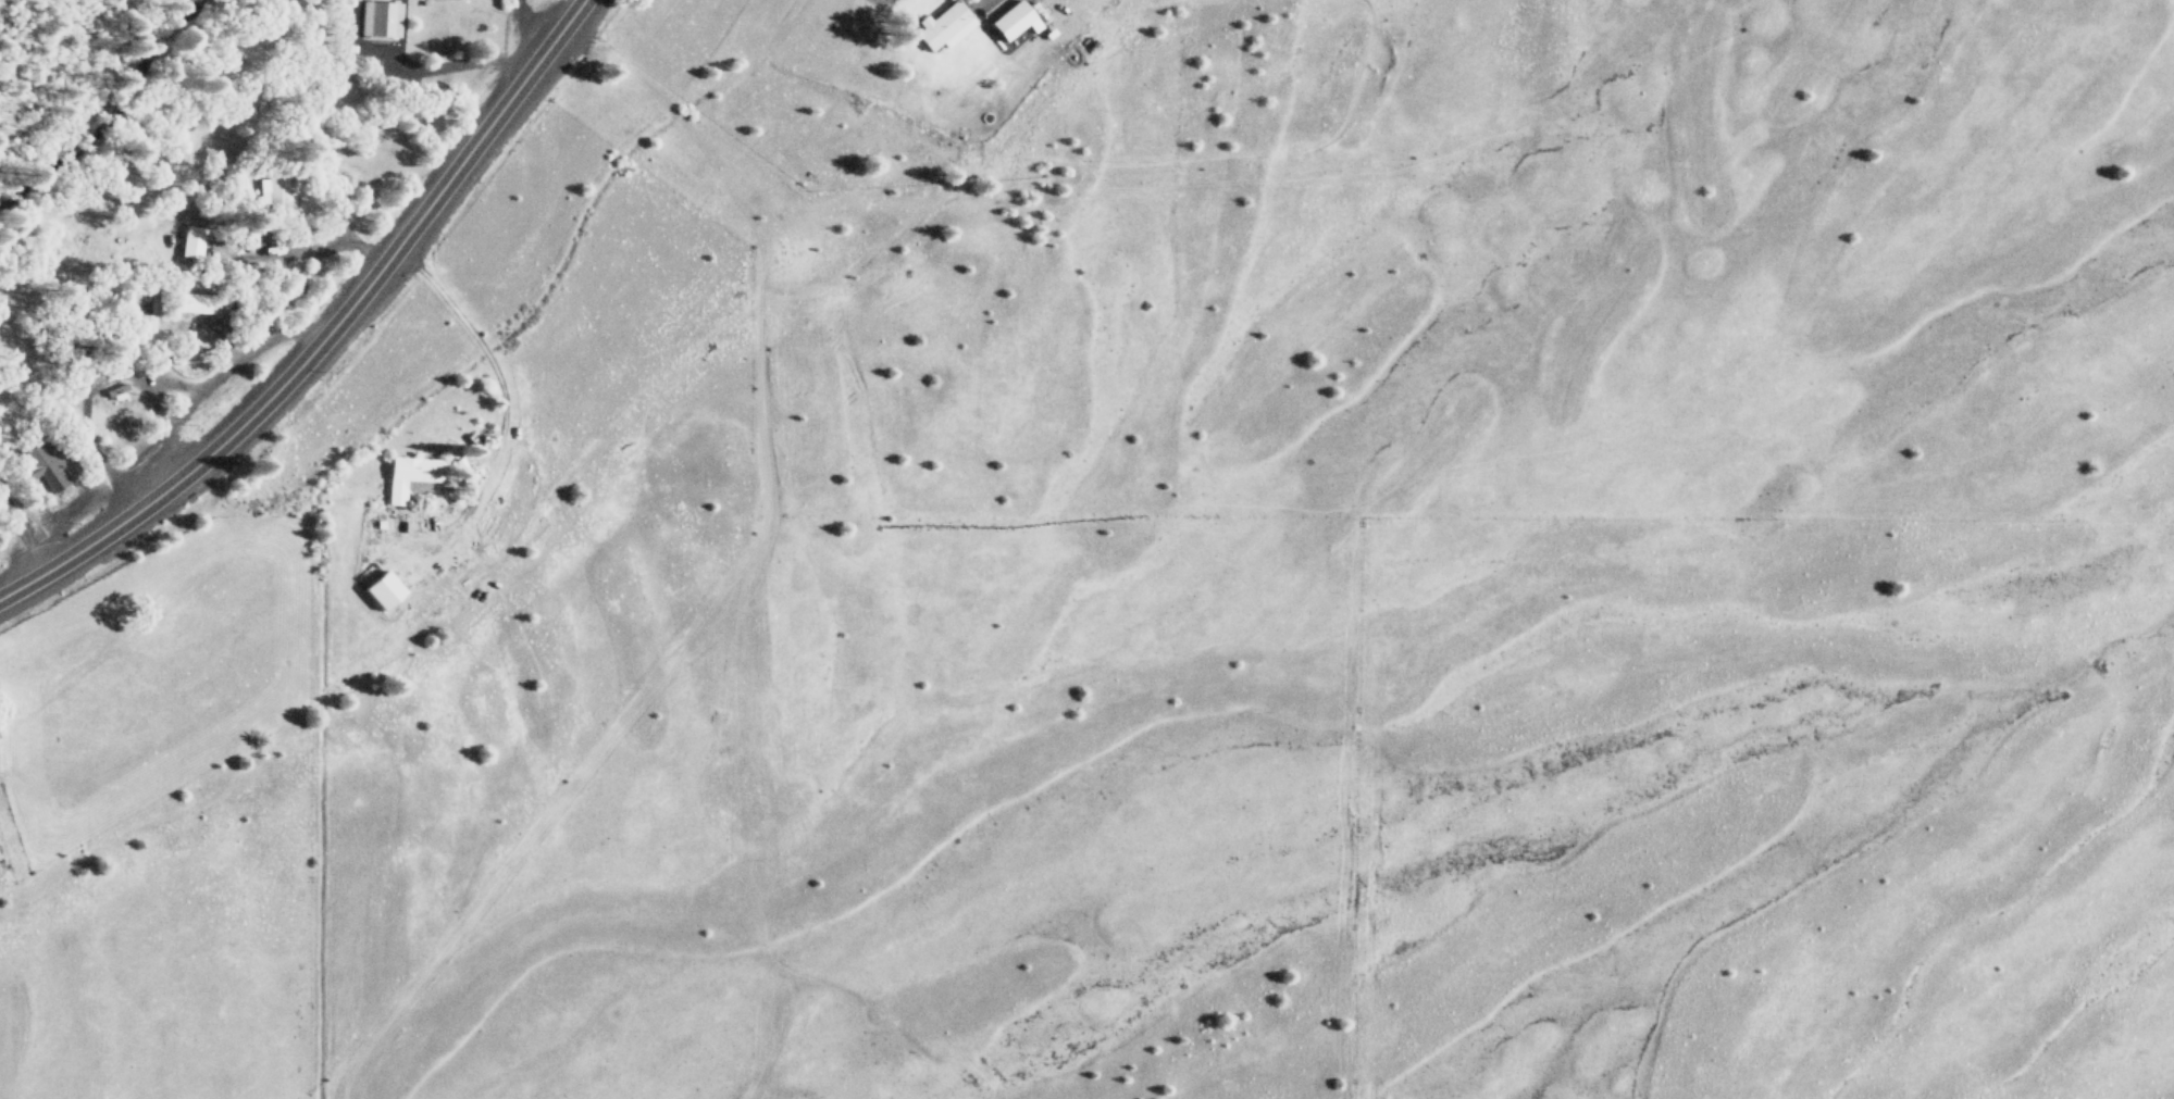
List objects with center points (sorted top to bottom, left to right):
building: (381, 16)
building: (1009, 16)
building: (944, 24)
building: (274, 190)
building: (191, 240)
building: (194, 300)
building: (147, 324)
road: (325, 334)
road: (498, 388)
building: (48, 462)
building: (412, 473)
building: (383, 588)

